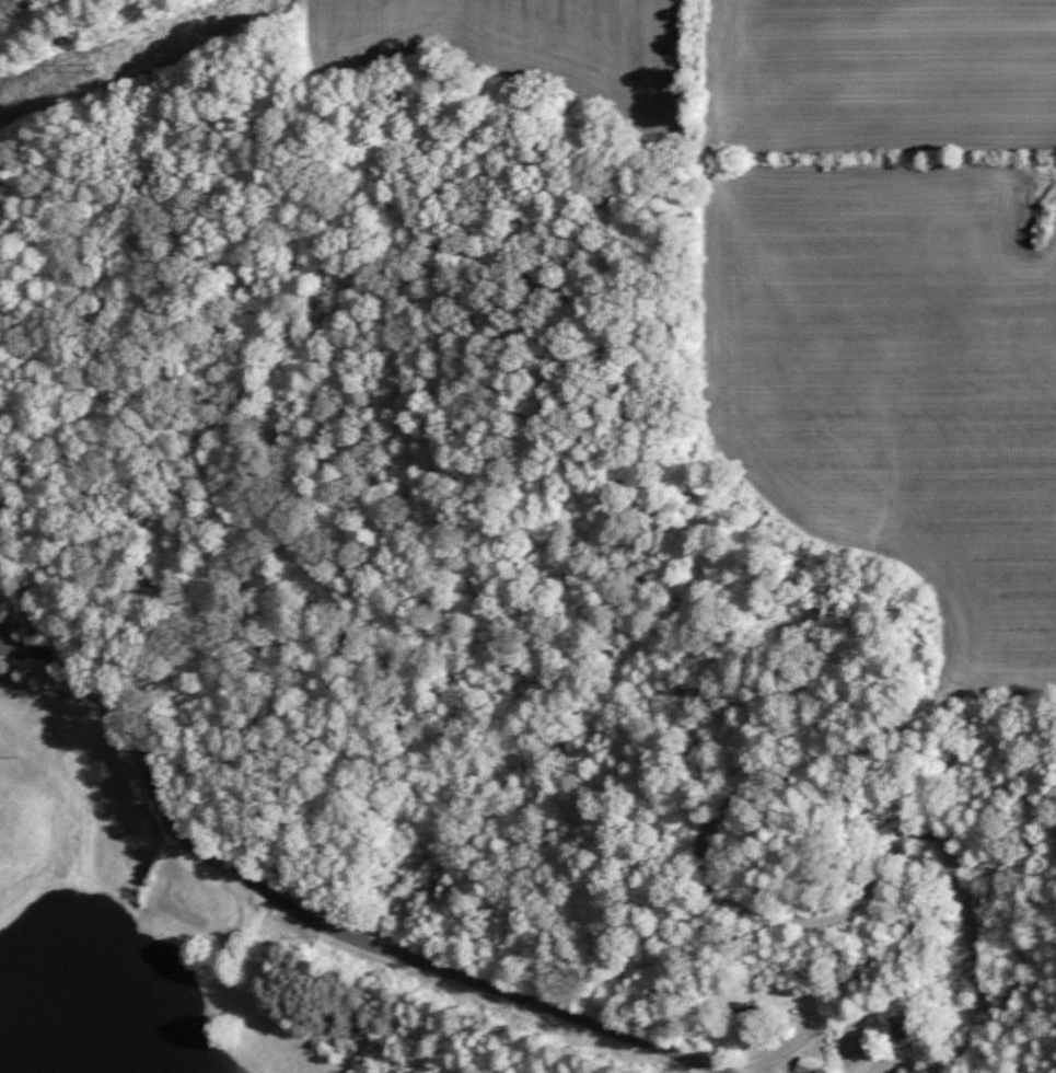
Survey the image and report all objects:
road: (316, 918)
building: (898, 1026)
building: (802, 1069)

